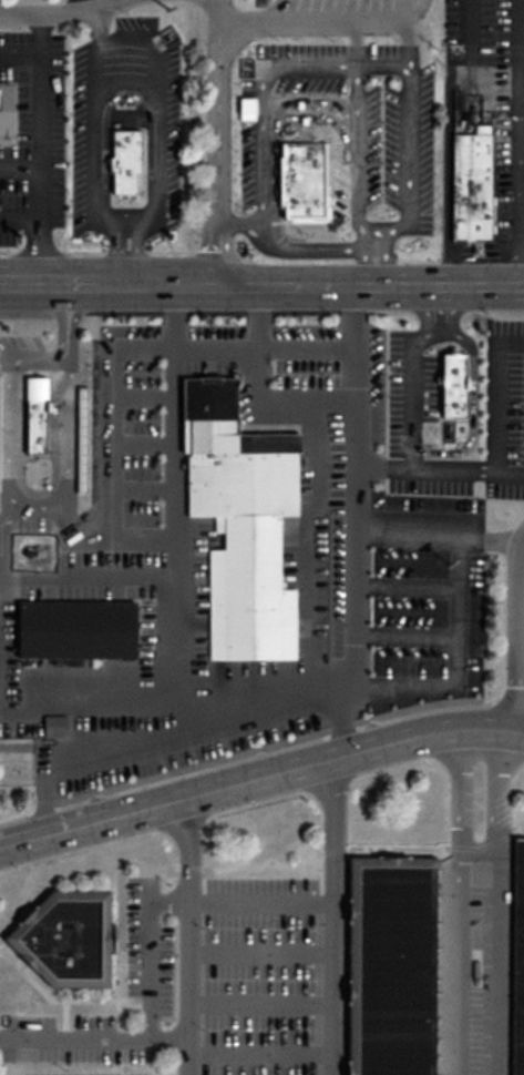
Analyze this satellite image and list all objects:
building: (359, 1)
road: (410, 12)
road: (61, 14)
road: (312, 26)
road: (466, 30)
road: (357, 45)
road: (410, 45)
road: (20, 55)
building: (4, 110)
road: (156, 122)
parking lot: (345, 126)
parking lot: (86, 129)
parking lot: (32, 134)
road: (260, 138)
road: (216, 142)
road: (520, 143)
road: (41, 150)
road: (357, 153)
building: (124, 164)
road: (410, 164)
road: (21, 170)
road: (90, 172)
building: (300, 180)
building: (473, 183)
road: (21, 220)
road: (238, 221)
road: (377, 257)
road: (107, 286)
road: (370, 286)
road: (435, 311)
road: (258, 318)
road: (117, 355)
building: (450, 386)
road: (412, 396)
road: (144, 397)
road: (472, 408)
parking lot: (504, 409)
building: (33, 413)
road: (270, 422)
parking lot: (417, 425)
road: (172, 432)
building: (80, 438)
road: (144, 445)
road: (353, 463)
road: (144, 491)
road: (16, 504)
road: (6, 509)
building: (238, 527)
road: (405, 537)
building: (32, 552)
parking lot: (381, 562)
road: (306, 565)
road: (85, 578)
road: (405, 586)
building: (74, 629)
road: (518, 633)
road: (405, 637)
road: (172, 661)
road: (393, 690)
road: (84, 710)
building: (53, 727)
road: (204, 737)
road: (260, 754)
road: (260, 778)
road: (259, 805)
road: (222, 872)
road: (459, 902)
road: (495, 902)
road: (172, 903)
road: (331, 917)
road: (187, 936)
building: (63, 940)
parking lot: (146, 949)
road: (259, 955)
building: (516, 959)
parking lot: (472, 963)
building: (388, 966)
parking lot: (259, 976)
road: (49, 1000)
road: (258, 1003)
road: (137, 1007)
road: (64, 1021)
road: (93, 1039)
parking lot: (71, 1042)
road: (258, 1055)
parking lot: (88, 1073)

